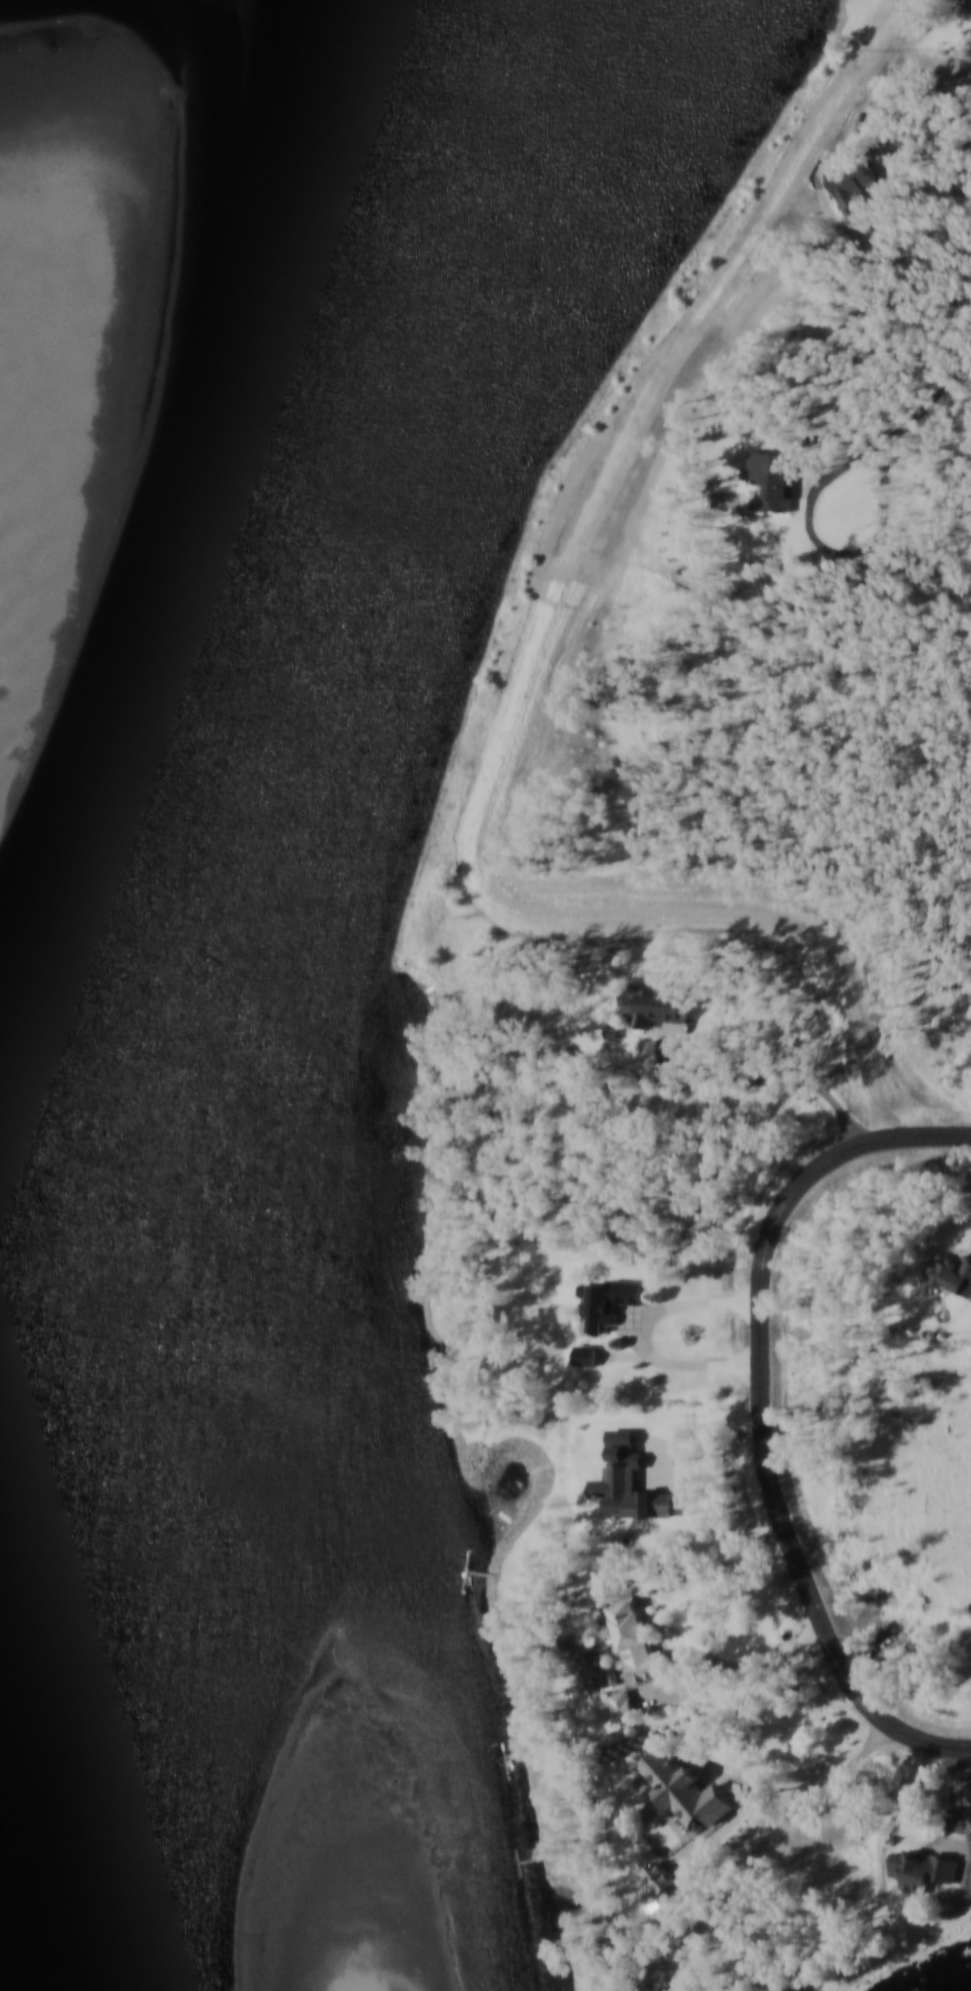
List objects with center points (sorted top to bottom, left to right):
building: (969, 1)
road: (922, 176)
building: (848, 183)
road: (919, 392)
building: (776, 476)
road: (809, 478)
road: (881, 549)
road: (834, 553)
building: (903, 561)
river: (220, 729)
building: (654, 1001)
building: (573, 1058)
road: (759, 1081)
building: (951, 1272)
building: (610, 1300)
road: (632, 1316)
road: (639, 1337)
road: (762, 1421)
building: (635, 1640)
road: (694, 1655)
road: (729, 1667)
road: (645, 1699)
building: (624, 1704)
road: (753, 1776)
road: (738, 1777)
building: (687, 1791)
road: (956, 1805)
road: (763, 1851)
building: (926, 1870)
building: (660, 1877)
building: (663, 1990)

